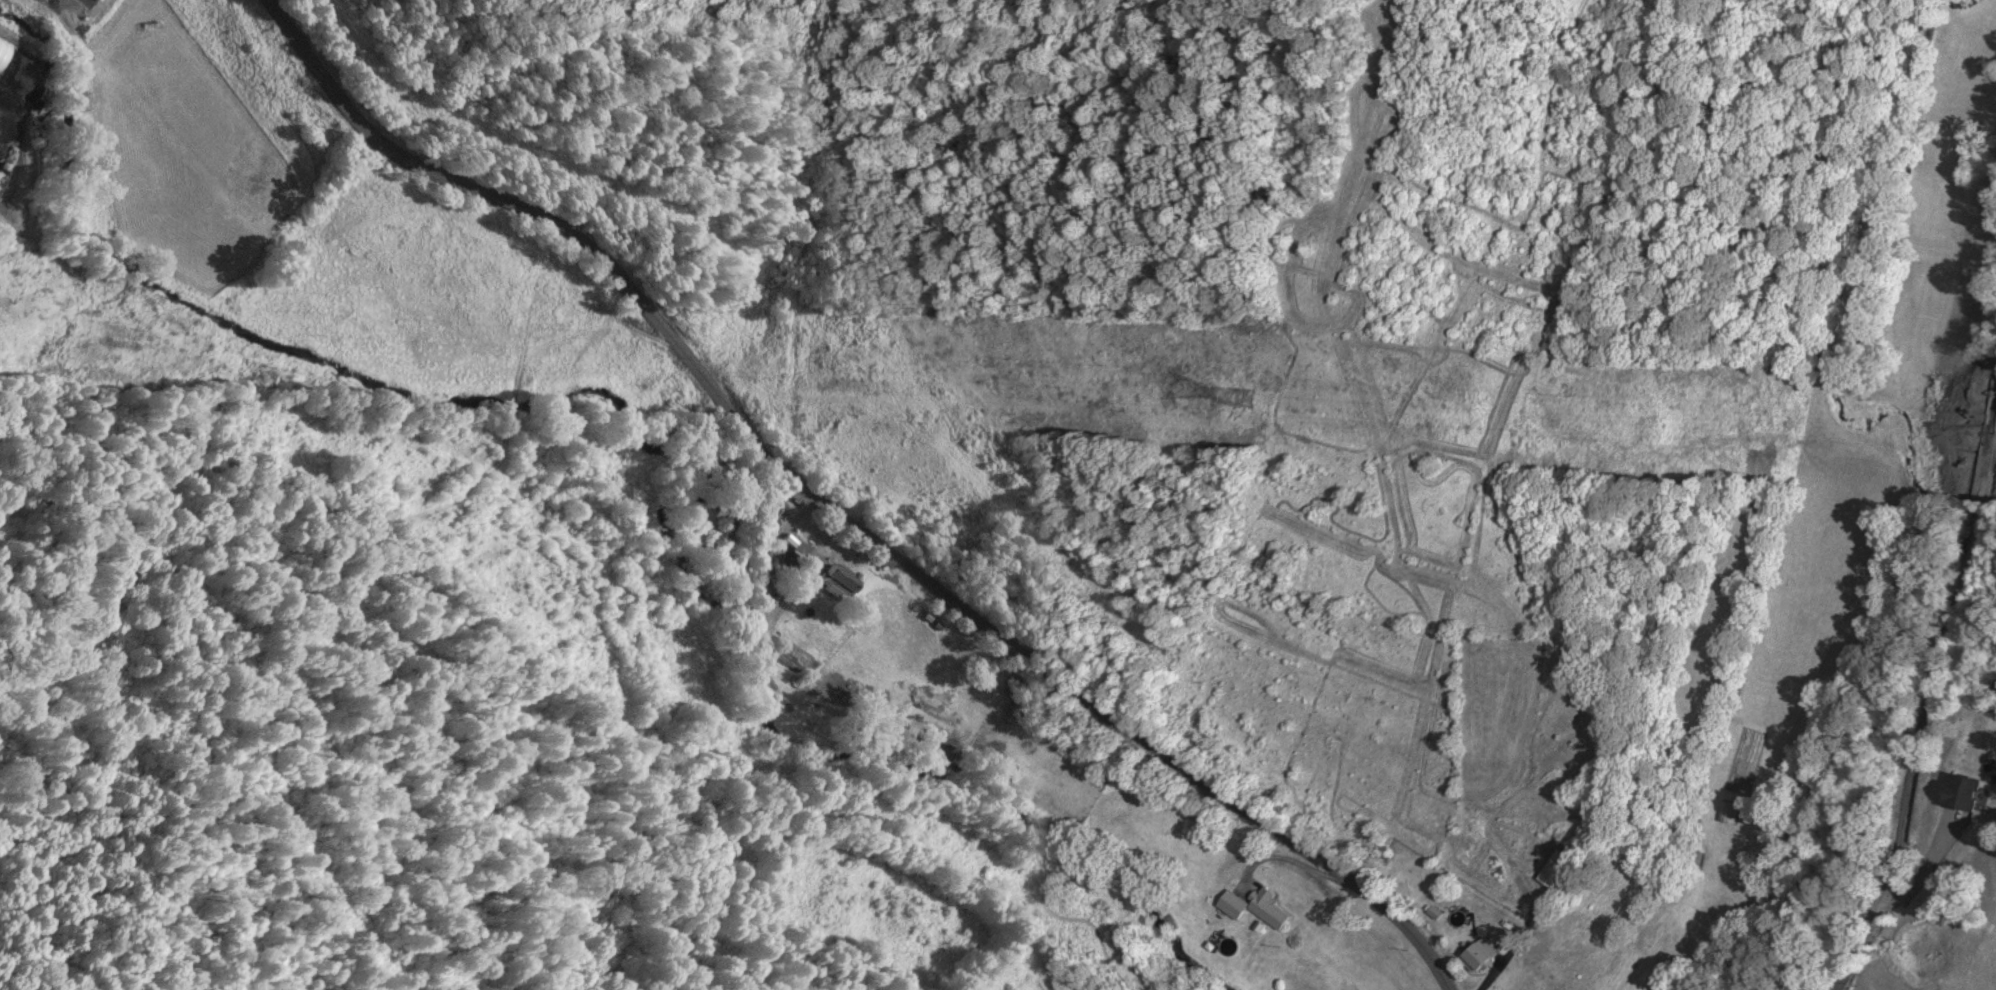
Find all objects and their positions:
building: (106, 0)
power tower: (1259, 400)
road: (840, 512)
building: (800, 556)
building: (840, 583)
road: (1932, 706)
building: (1965, 796)
building: (1695, 862)
building: (1254, 908)
building: (1478, 955)

